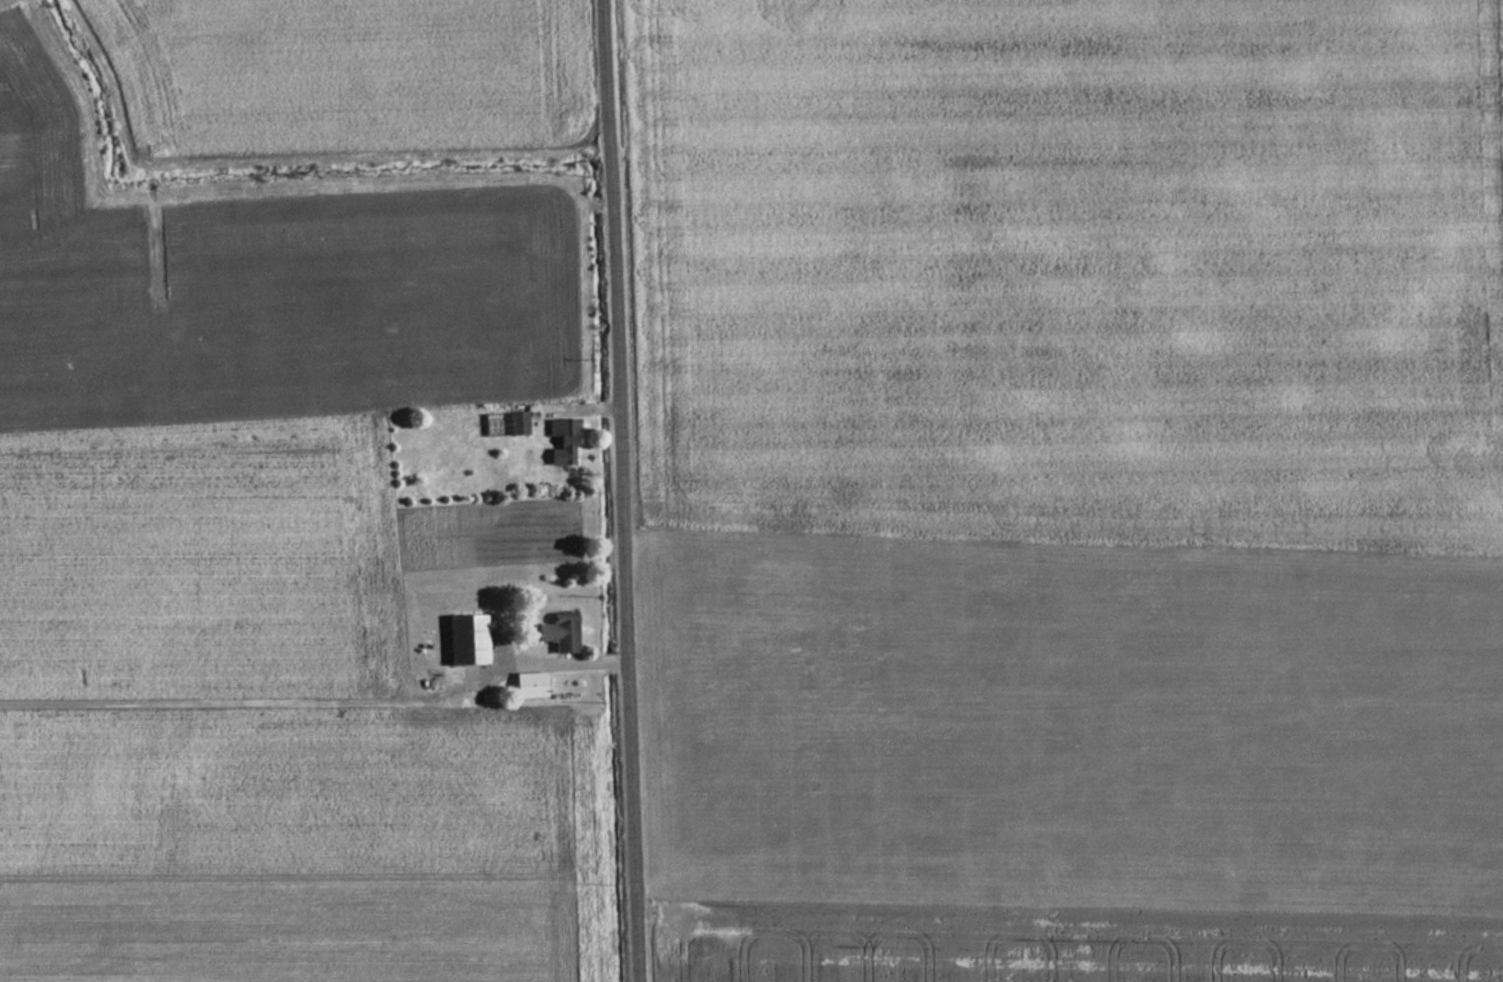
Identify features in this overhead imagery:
crop: (336, 77)
crop: (262, 290)
building: (515, 424)
building: (560, 442)
crop: (1076, 488)
road: (624, 491)
building: (557, 631)
building: (464, 638)
building: (527, 685)
crop: (245, 727)

